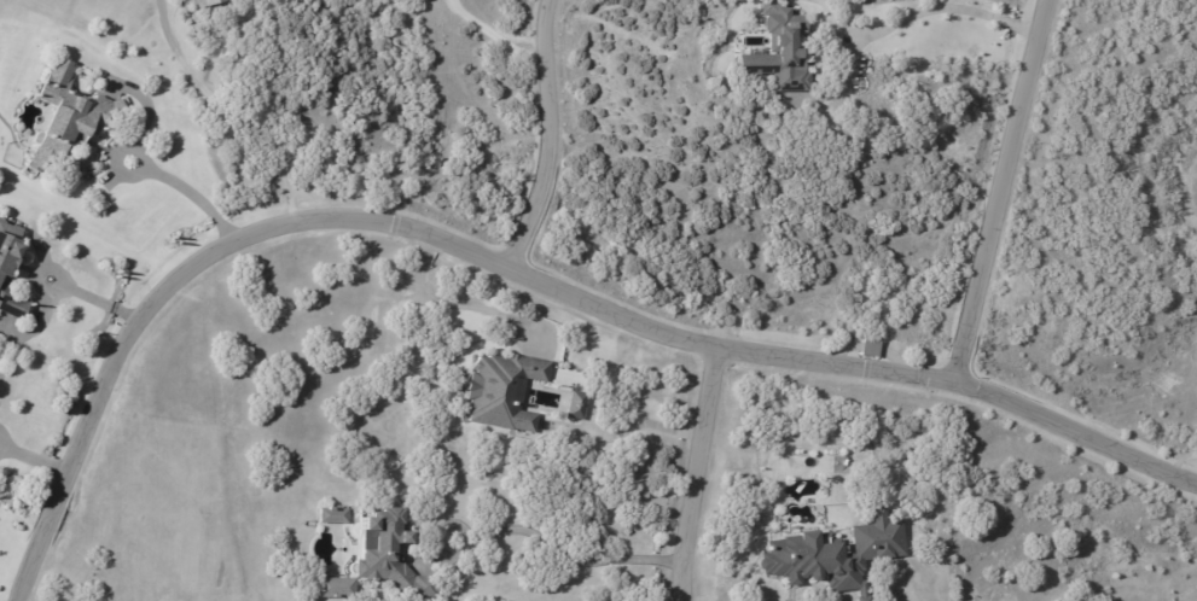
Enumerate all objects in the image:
building: (210, 4)
road: (889, 23)
building: (783, 52)
building: (69, 121)
road: (550, 141)
road: (994, 192)
road: (191, 194)
building: (10, 275)
road: (511, 280)
road: (87, 294)
road: (444, 296)
building: (868, 346)
building: (505, 395)
building: (579, 408)
road: (33, 460)
road: (701, 477)
building: (336, 519)
building: (394, 560)
road: (577, 562)
building: (810, 562)
building: (336, 588)

